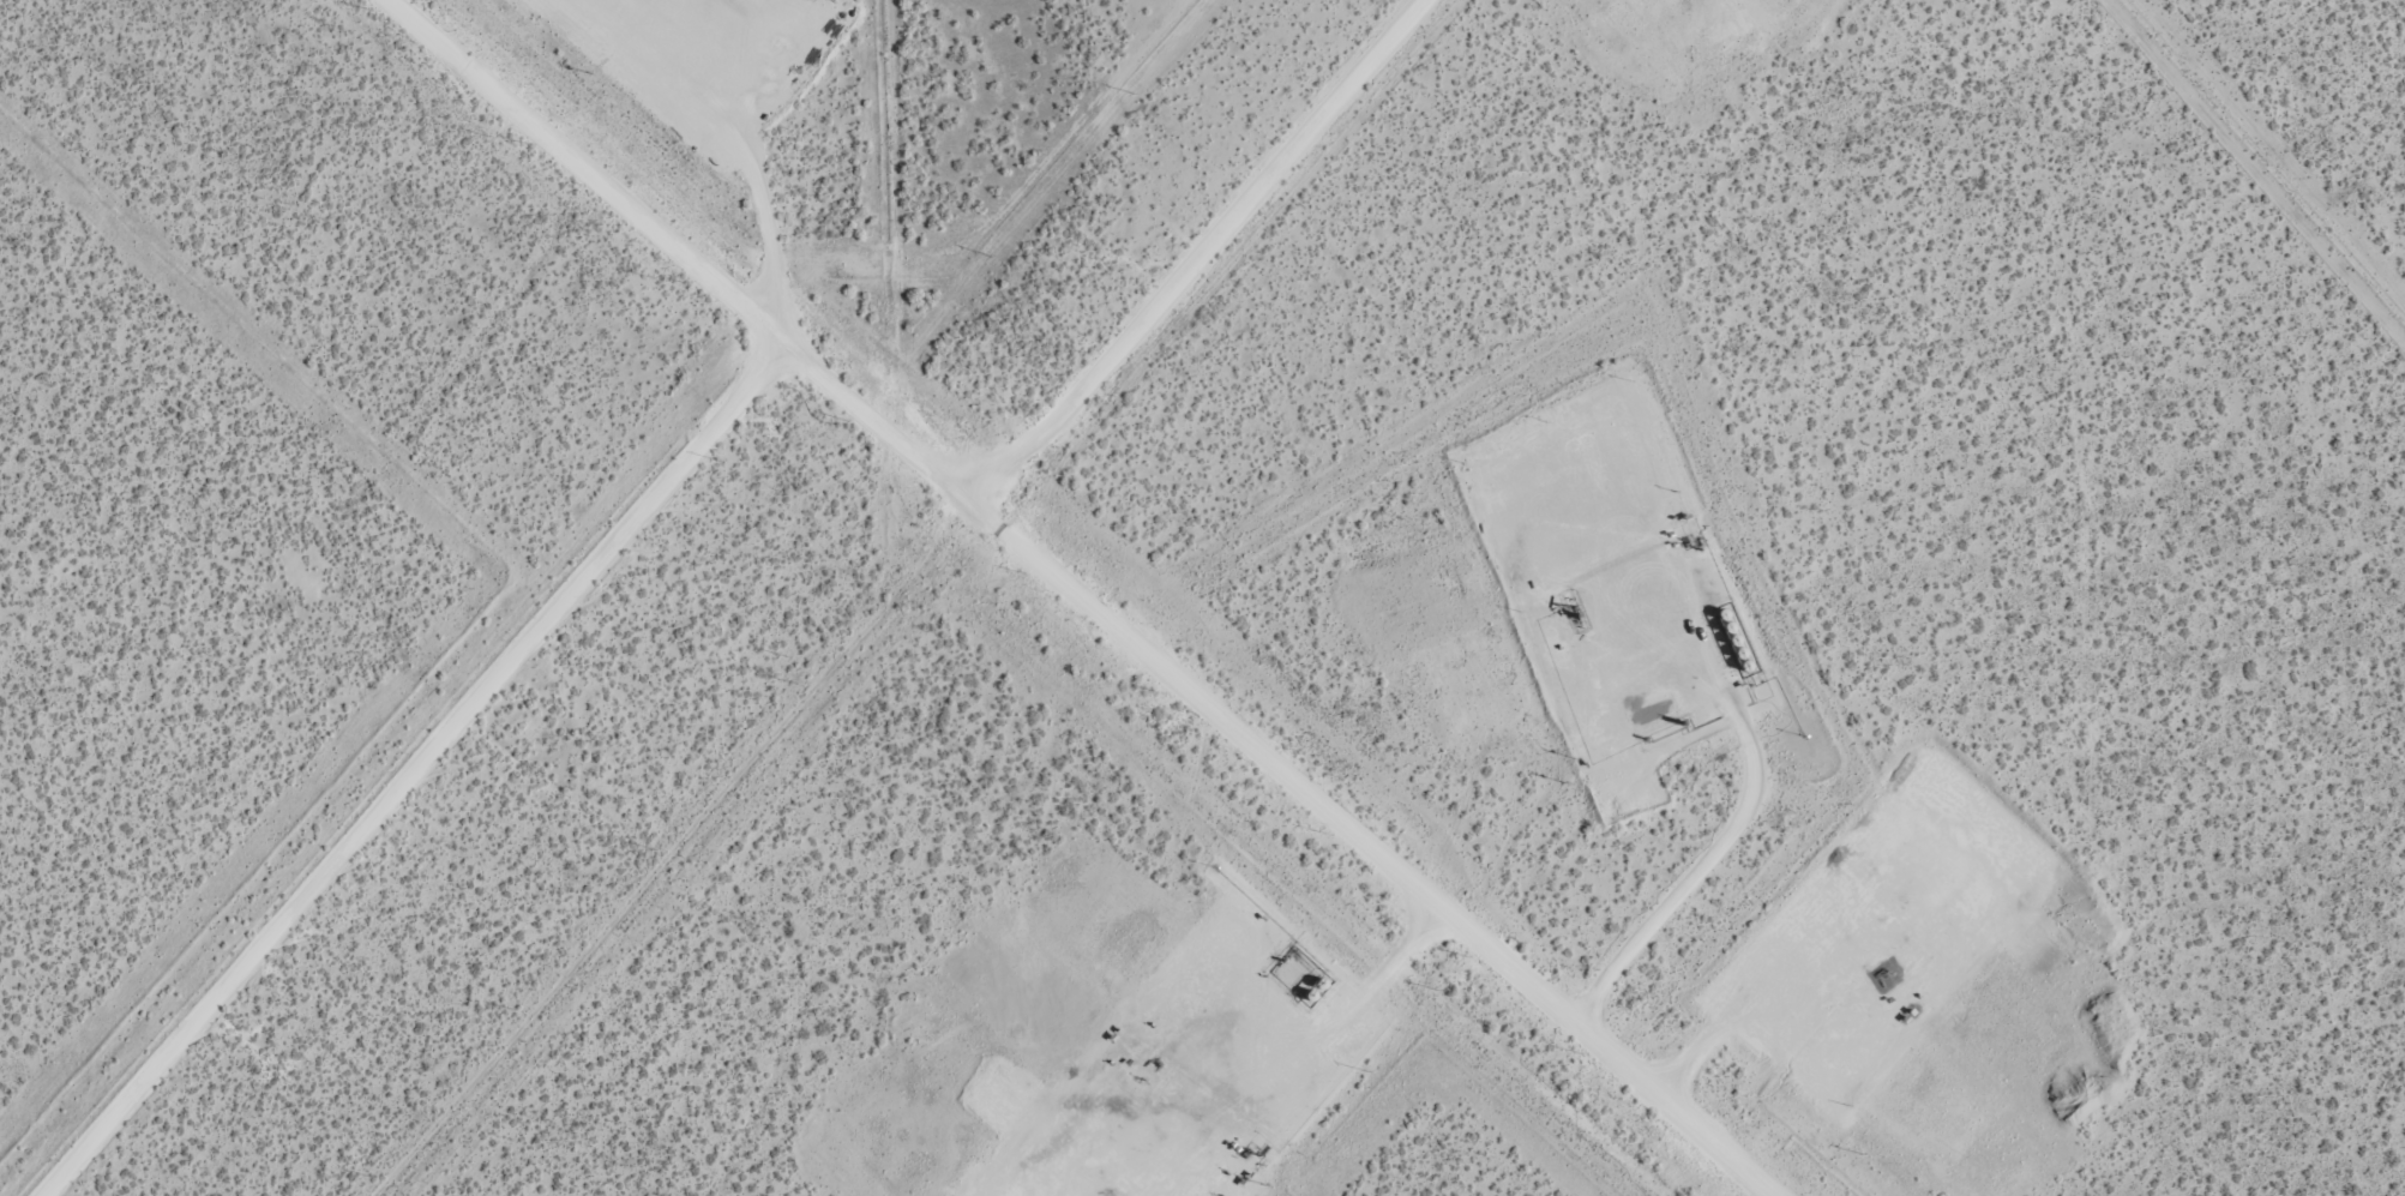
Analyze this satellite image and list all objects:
road: (765, 222)
road: (1198, 248)
road: (1082, 599)
road: (344, 632)
road: (416, 770)
road: (1695, 872)
road: (1365, 988)

